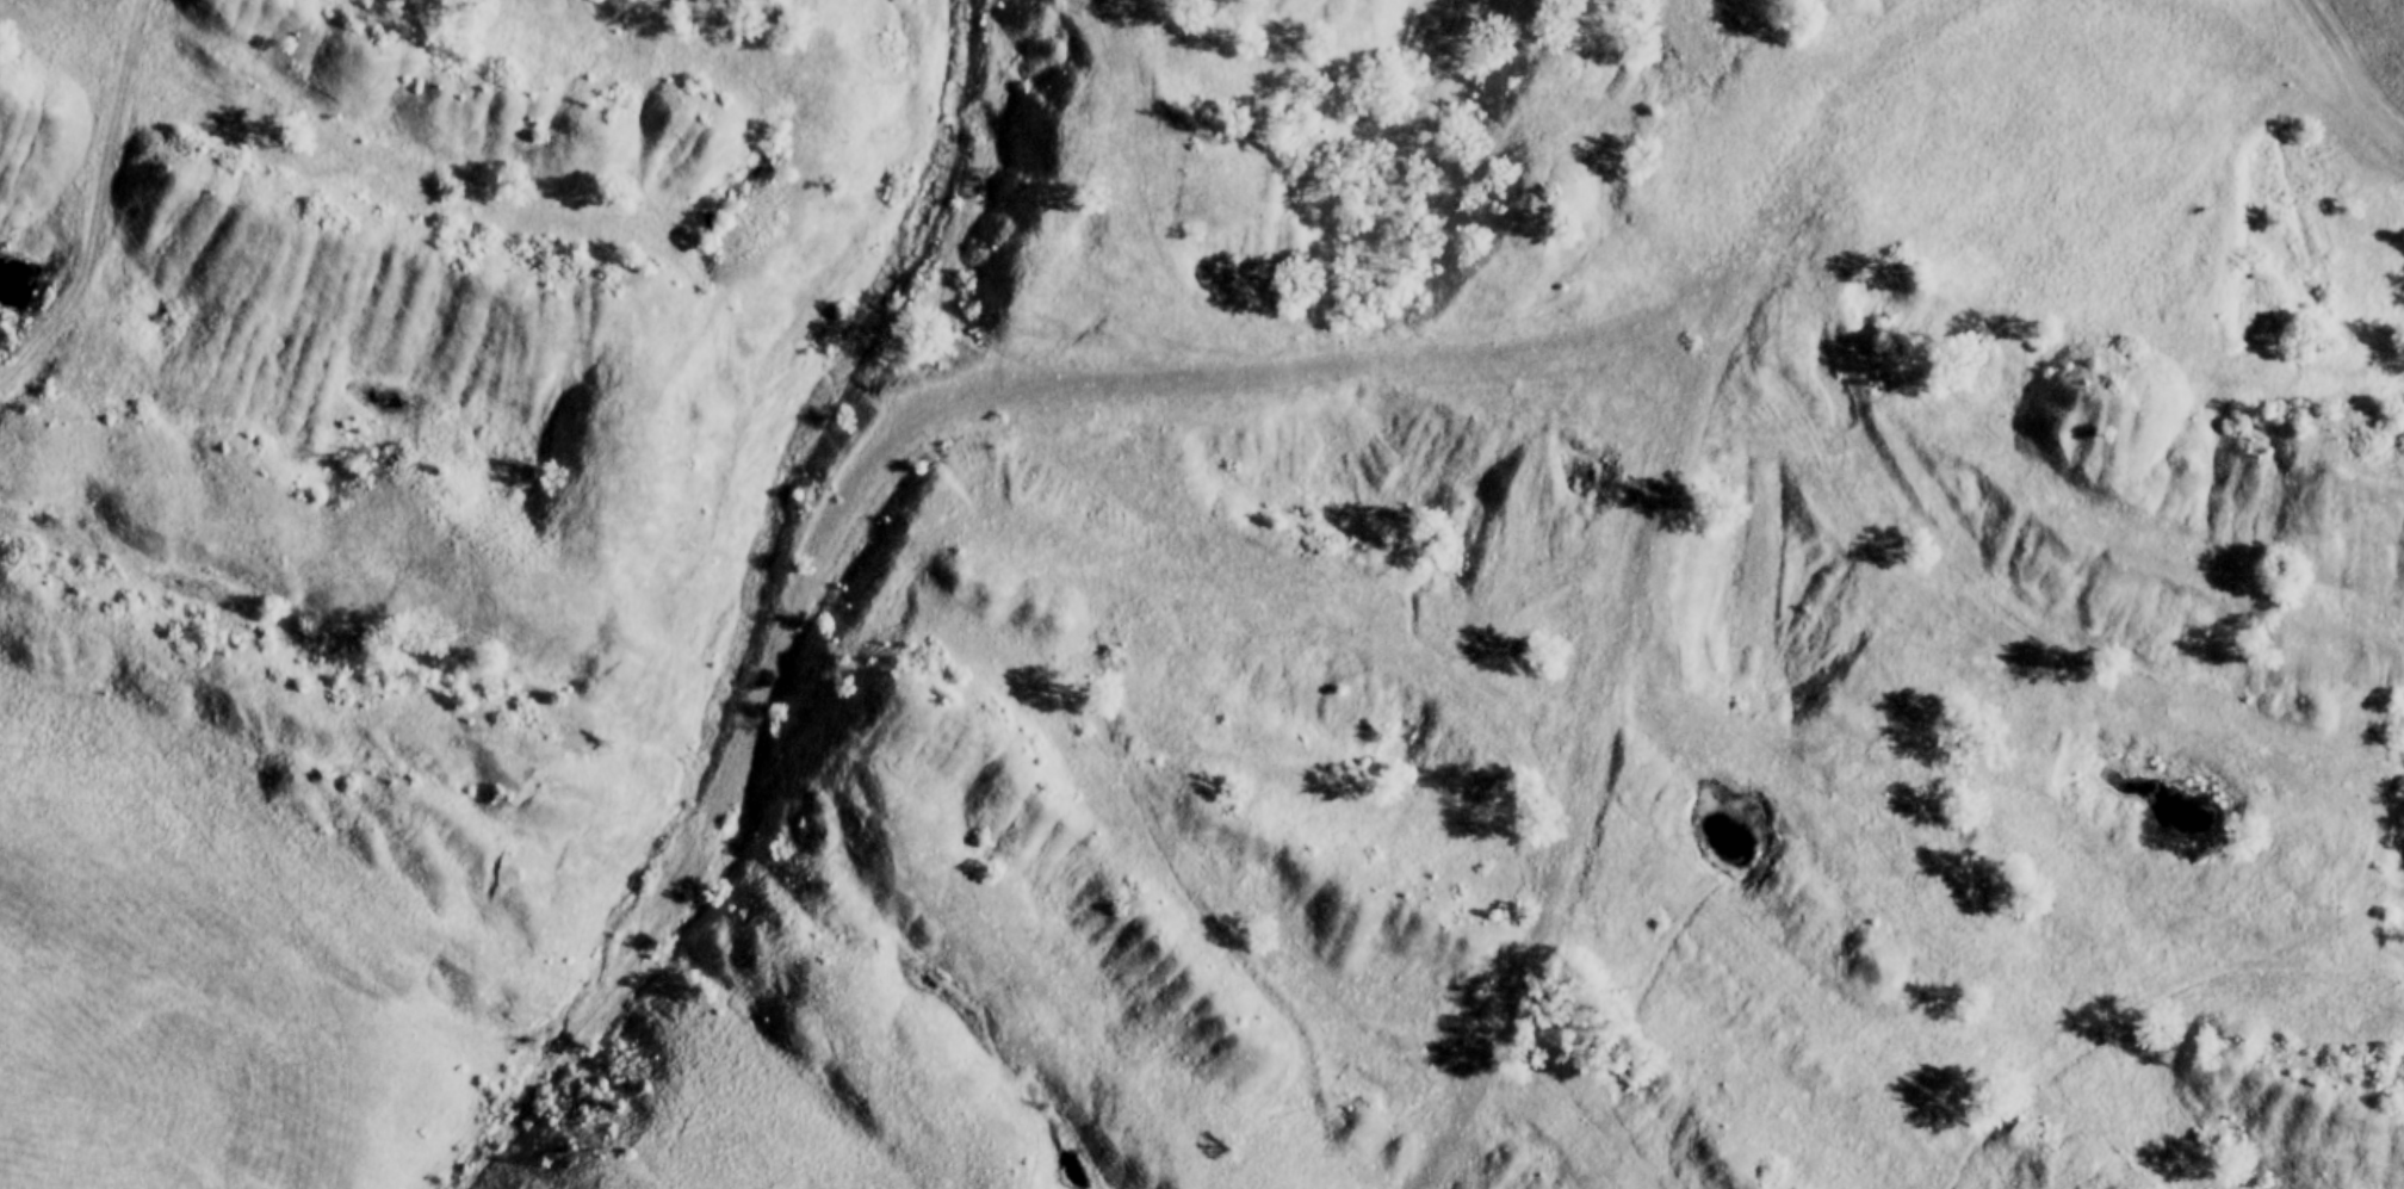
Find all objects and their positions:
road: (2347, 72)
road: (1060, 389)
quarry: (1243, 574)
road: (1600, 706)

